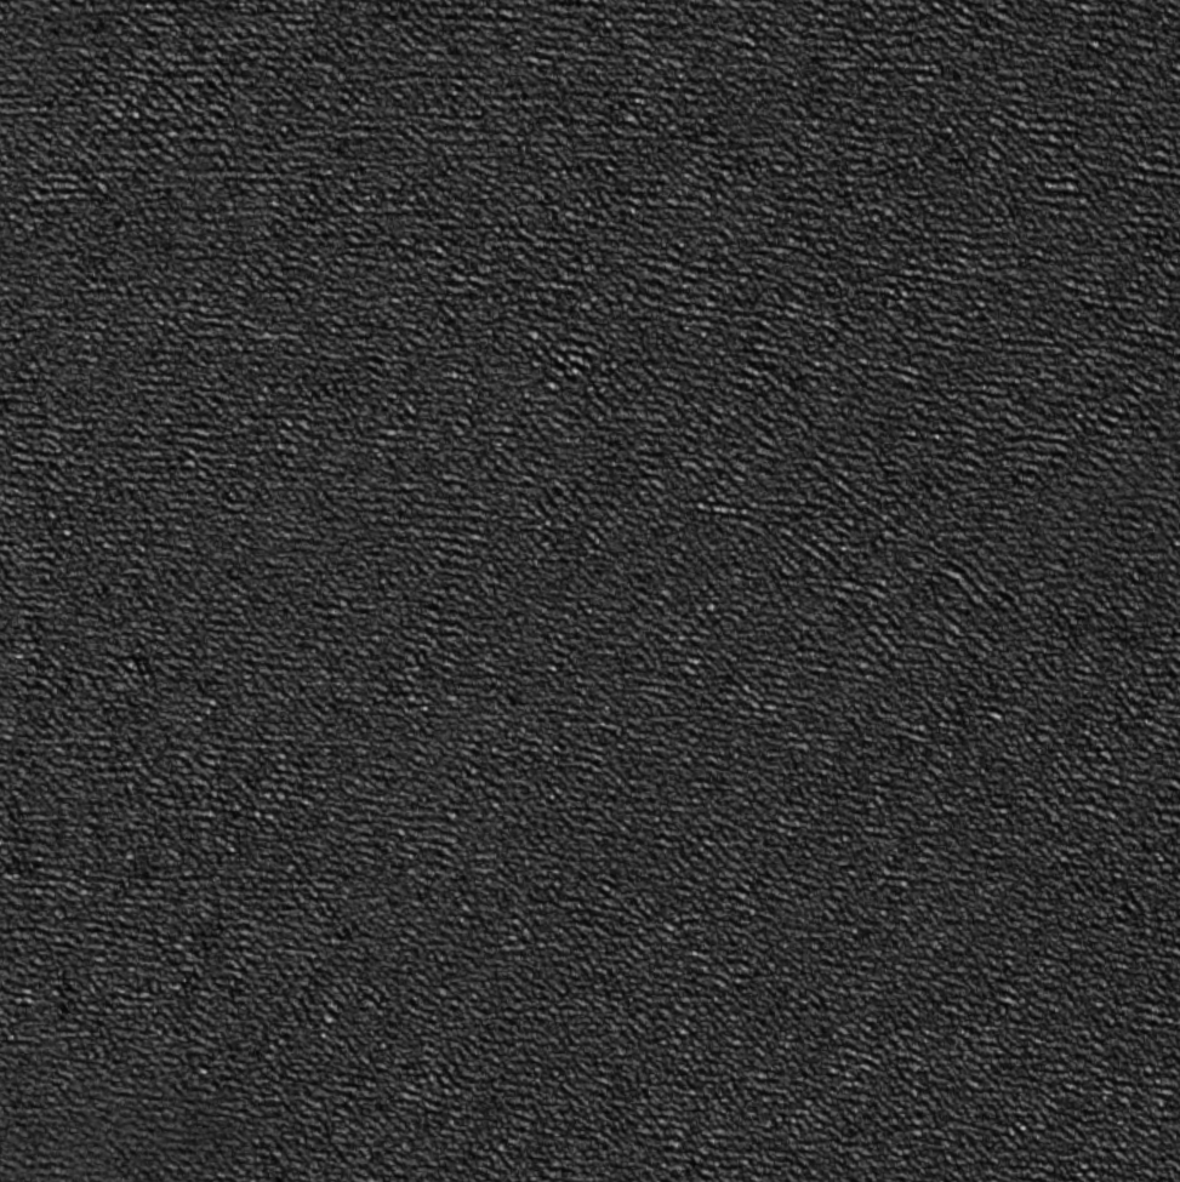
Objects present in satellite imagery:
river: (809, 590)

